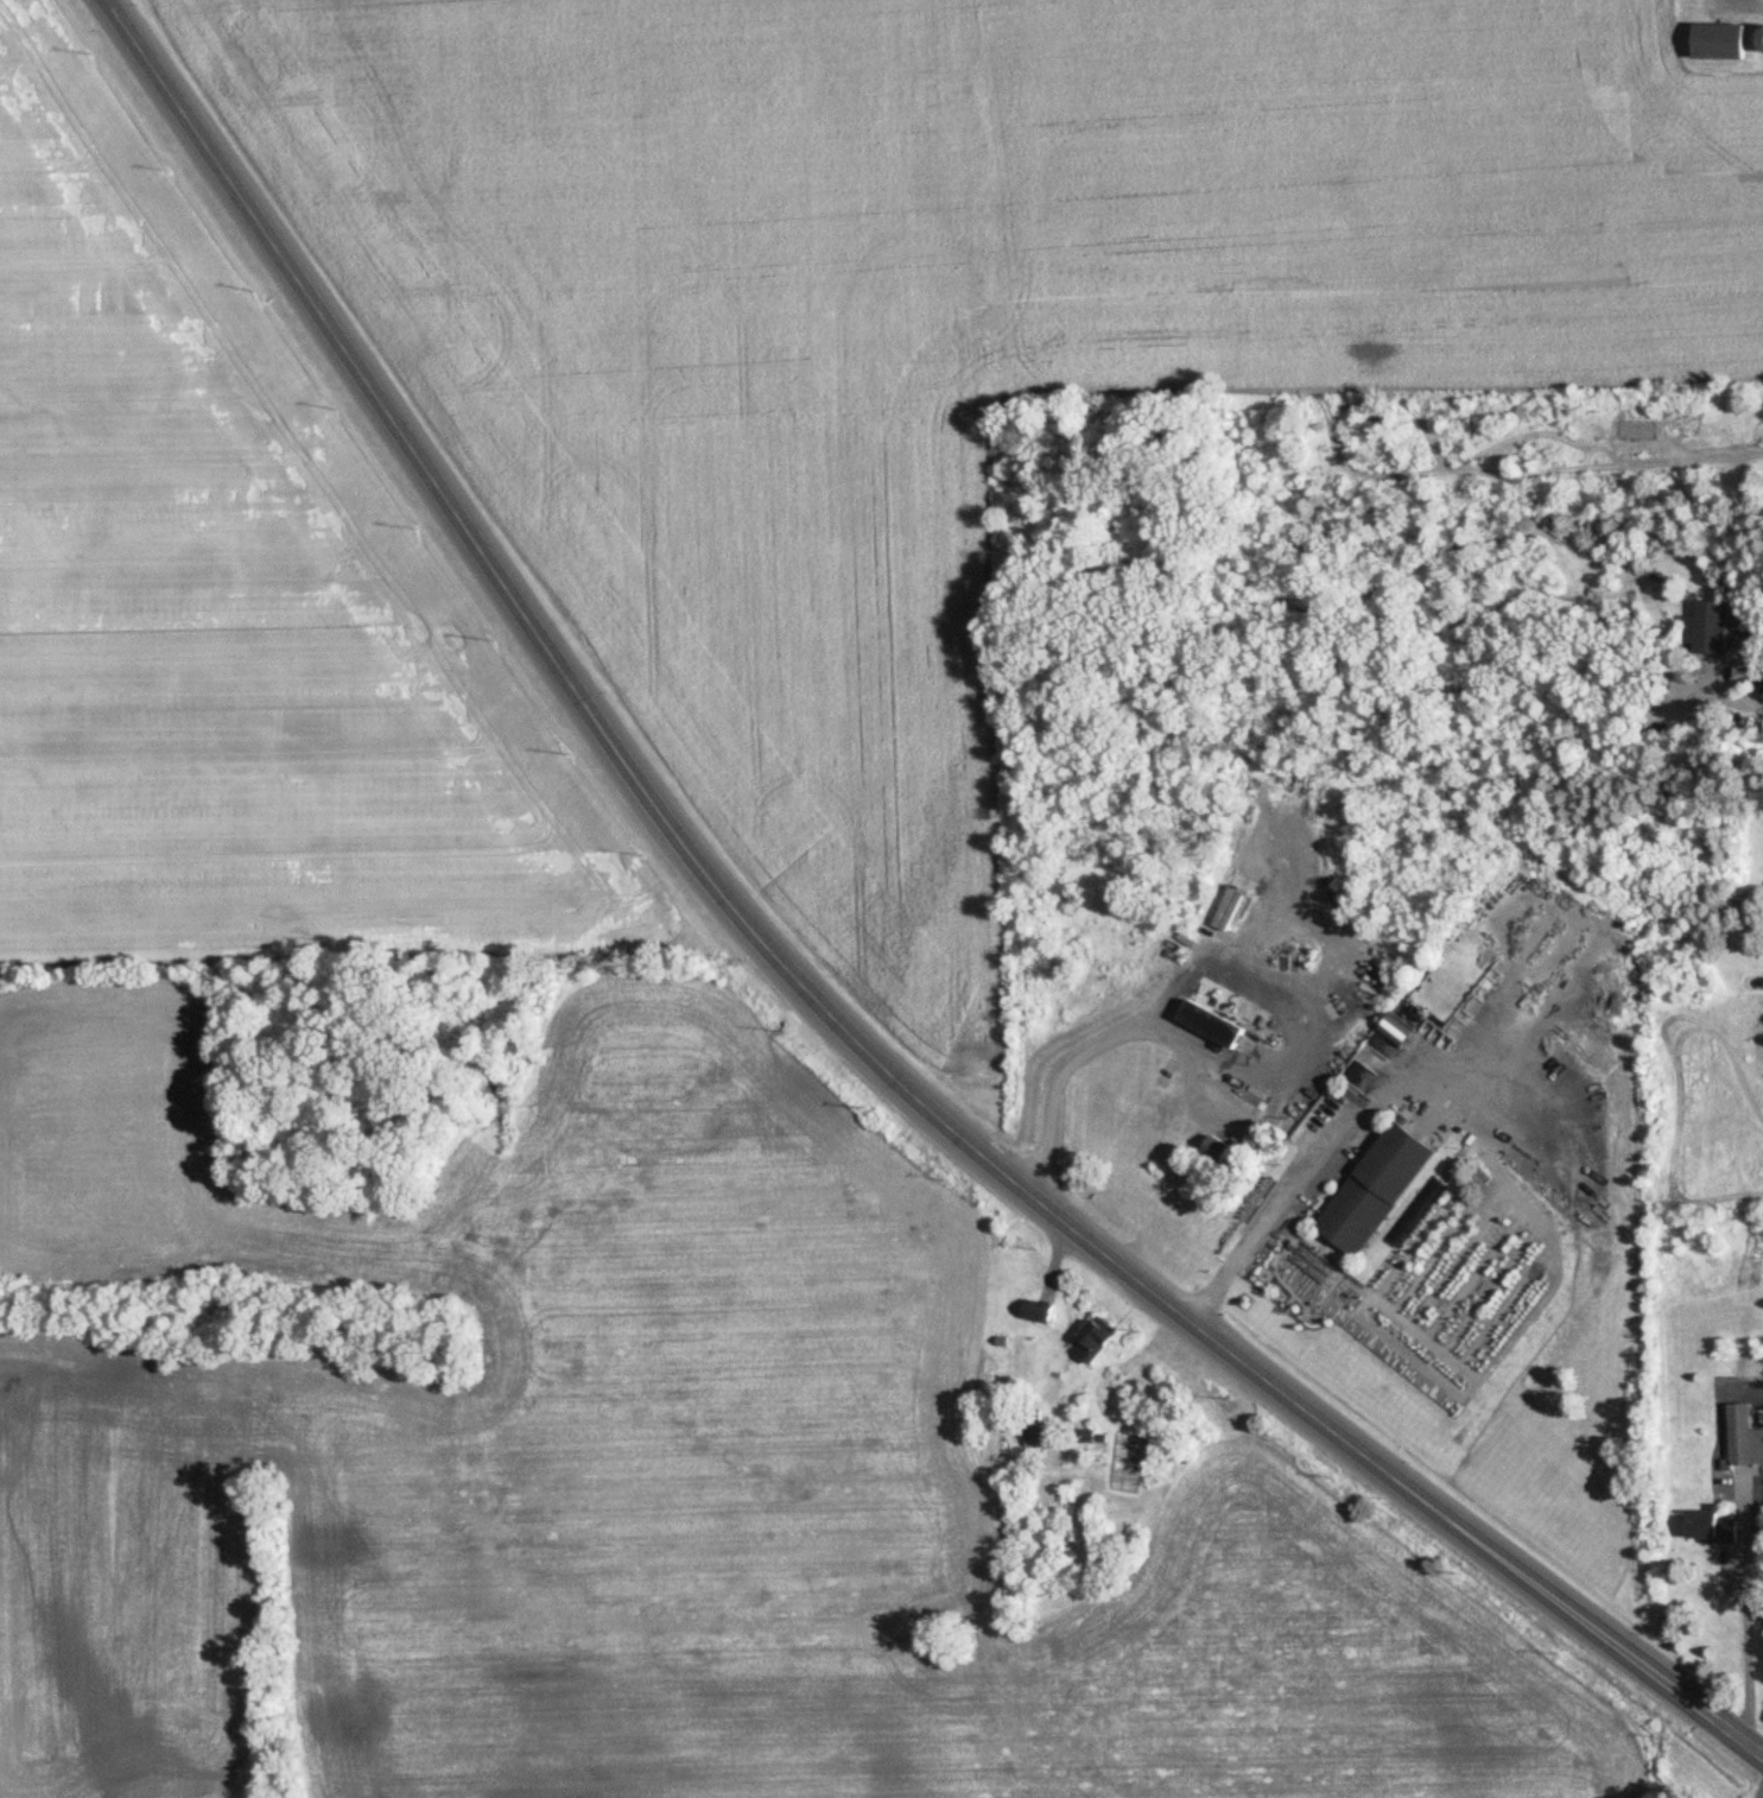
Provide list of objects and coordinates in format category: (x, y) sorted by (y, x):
building: (1761, 36)
building: (1708, 625)
road: (808, 996)
building: (1210, 1023)
building: (1395, 1027)
road: (1242, 1072)
road: (1222, 1122)
building: (1216, 1146)
road: (1325, 1158)
building: (1374, 1188)
building: (1038, 1311)
building: (1091, 1342)
building: (1033, 1424)
building: (1743, 1437)
building: (1710, 1526)
road: (1746, 1641)
road: (1762, 1796)

